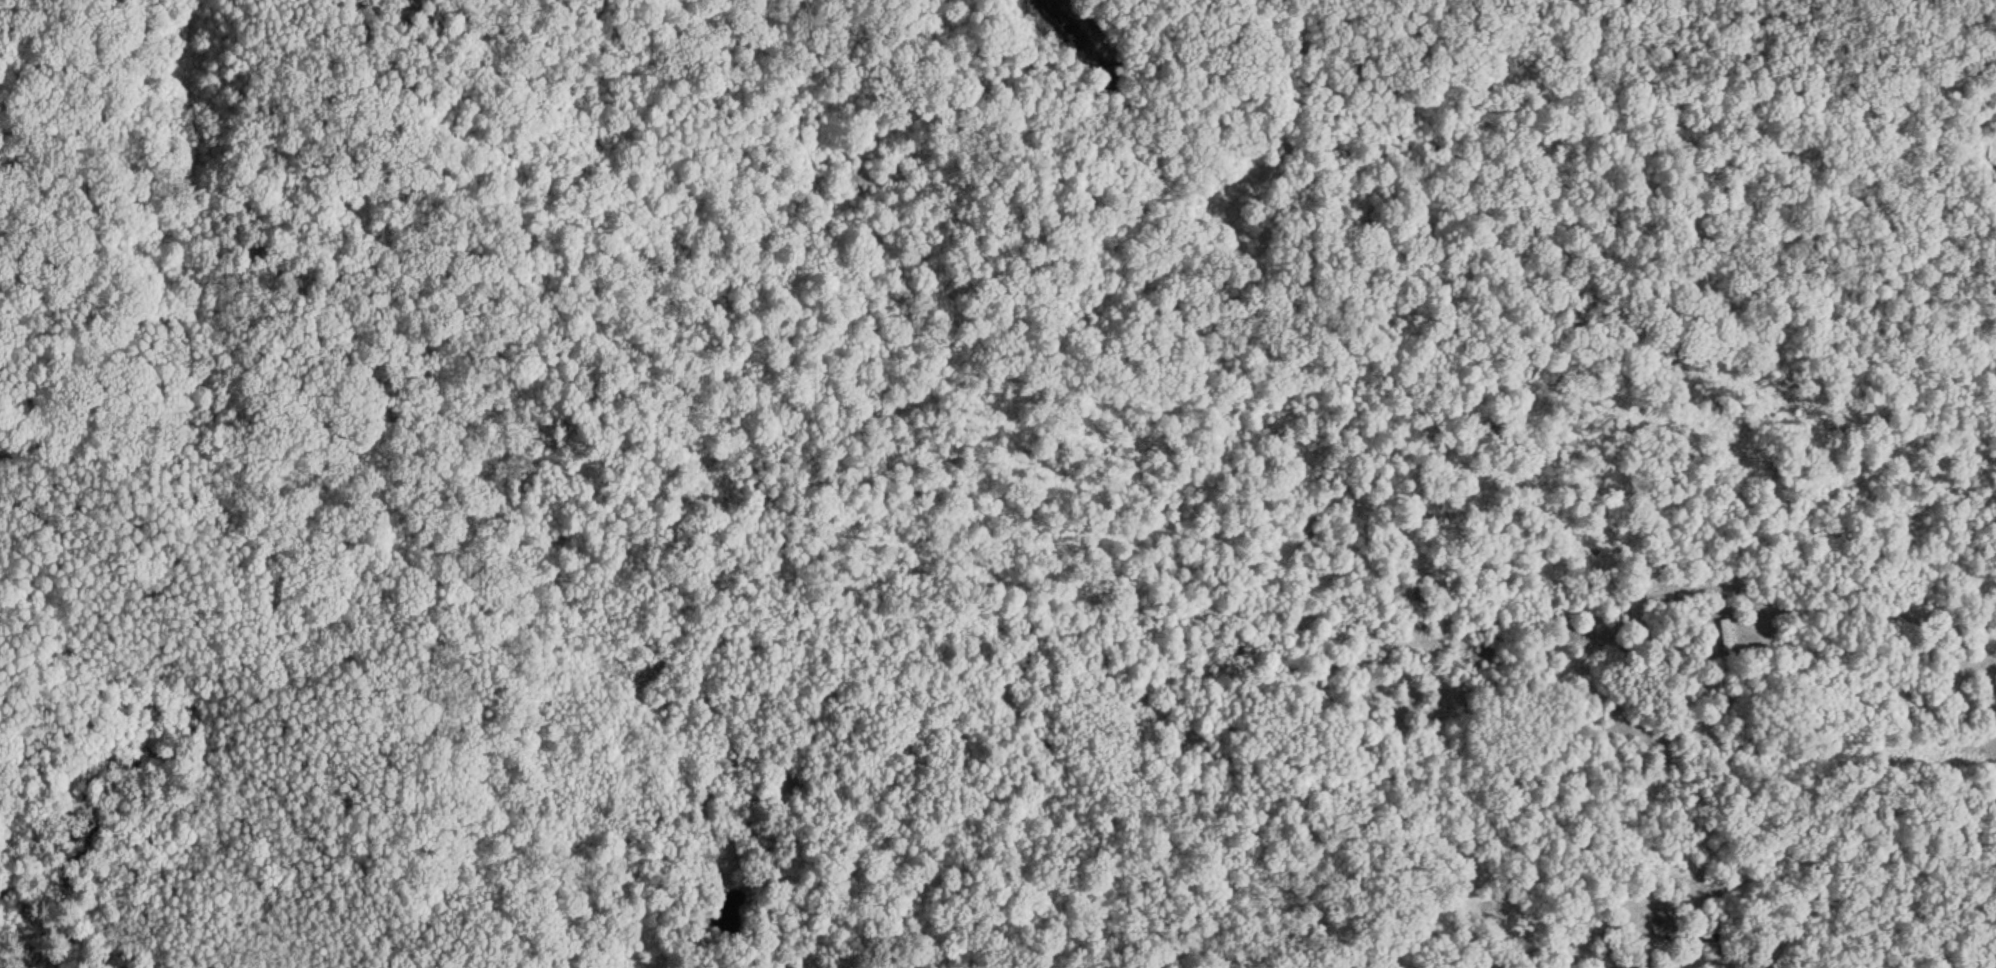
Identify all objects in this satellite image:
building: (1726, 637)
building: (1661, 921)

